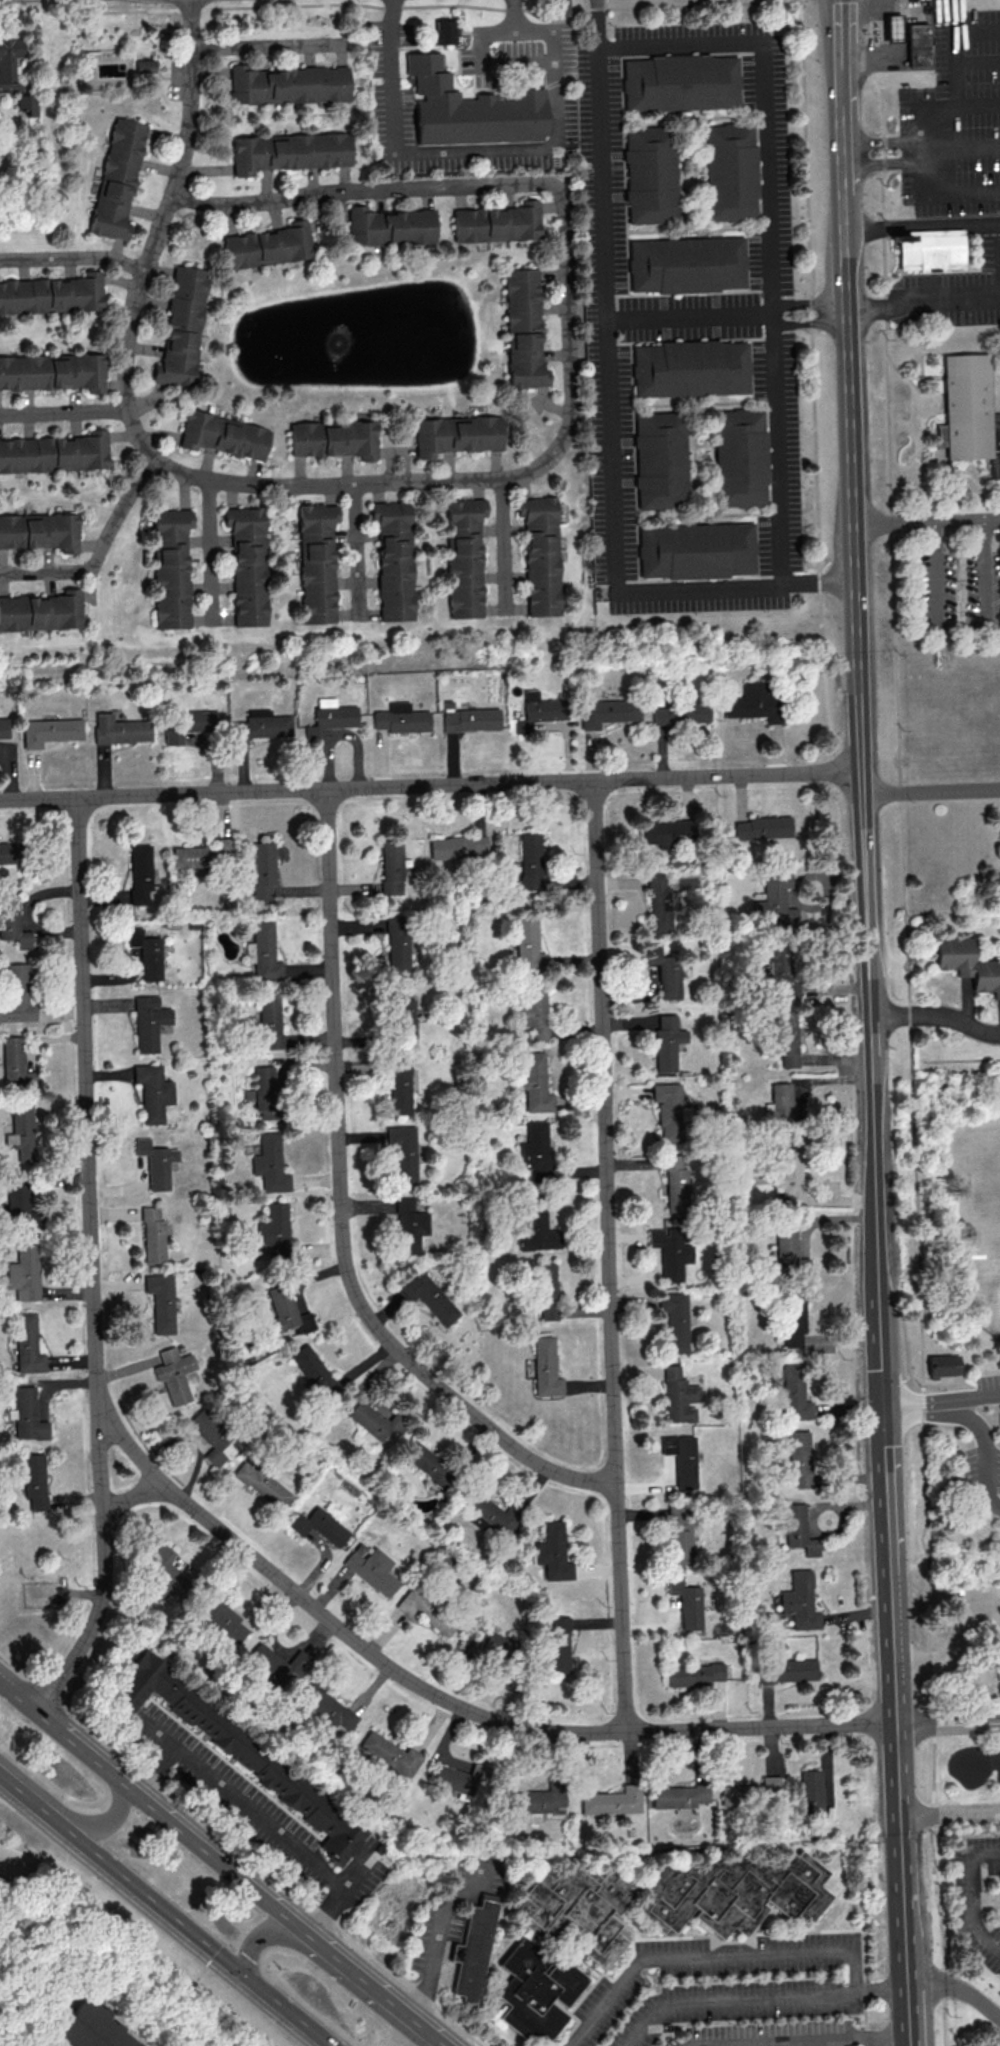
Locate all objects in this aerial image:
road: (402, 6)
building: (553, 8)
road: (863, 9)
road: (952, 15)
building: (890, 27)
gas station: (890, 27)
building: (443, 36)
building: (915, 43)
road: (839, 44)
road: (269, 48)
road: (873, 48)
road: (977, 61)
building: (9, 63)
road: (485, 63)
building: (144, 69)
building: (287, 84)
building: (679, 84)
road: (190, 97)
building: (27, 104)
road: (977, 106)
road: (931, 110)
building: (475, 111)
parking lot: (954, 118)
road: (840, 126)
road: (887, 142)
road: (966, 150)
building: (289, 151)
road: (490, 152)
road: (887, 162)
building: (729, 174)
building: (649, 176)
building: (117, 179)
building: (498, 222)
building: (390, 225)
road: (921, 226)
road: (771, 229)
road: (843, 237)
building: (268, 245)
building: (935, 249)
road: (72, 260)
building: (684, 267)
parking lot: (957, 291)
building: (52, 293)
road: (921, 298)
road: (809, 305)
road: (689, 319)
road: (811, 322)
road: (810, 323)
building: (182, 327)
building: (524, 328)
building: (689, 370)
building: (53, 371)
road: (65, 411)
building: (967, 412)
road: (611, 418)
building: (457, 434)
building: (224, 435)
building: (334, 438)
building: (54, 452)
building: (739, 460)
building: (659, 462)
road: (542, 464)
road: (926, 523)
building: (40, 531)
road: (503, 546)
road: (100, 551)
road: (210, 552)
road: (359, 552)
building: (695, 552)
building: (540, 554)
building: (465, 556)
building: (394, 559)
building: (317, 562)
building: (247, 564)
building: (171, 567)
building: (41, 611)
road: (964, 628)
building: (755, 702)
building: (538, 711)
building: (608, 712)
building: (680, 712)
building: (331, 716)
building: (401, 718)
building: (471, 719)
building: (187, 724)
building: (262, 725)
building: (4, 728)
building: (120, 729)
building: (50, 731)
road: (859, 731)
road: (430, 787)
road: (931, 791)
building: (763, 827)
building: (668, 833)
building: (457, 847)
building: (9, 852)
building: (204, 853)
building: (531, 861)
building: (391, 867)
building: (262, 870)
building: (140, 874)
building: (774, 902)
building: (660, 903)
building: (12, 922)
building: (528, 943)
building: (398, 944)
building: (263, 951)
building: (147, 953)
building: (968, 963)
building: (665, 971)
building: (777, 972)
building: (17, 993)
building: (533, 1013)
road: (936, 1014)
building: (402, 1019)
building: (269, 1020)
building: (149, 1022)
building: (786, 1037)
building: (667, 1042)
building: (15, 1060)
road: (912, 1068)
building: (535, 1083)
building: (400, 1087)
building: (152, 1091)
building: (265, 1091)
building: (779, 1103)
building: (668, 1110)
building: (21, 1130)
building: (535, 1149)
building: (403, 1152)
building: (156, 1162)
building: (269, 1163)
building: (787, 1174)
building: (675, 1182)
park: (983, 1192)
building: (17, 1204)
road: (340, 1209)
building: (409, 1226)
building: (274, 1229)
building: (538, 1231)
building: (152, 1235)
building: (672, 1251)
building: (789, 1252)
road: (607, 1257)
road: (90, 1265)
park: (994, 1268)
building: (24, 1272)
road: (879, 1279)
building: (546, 1291)
building: (429, 1297)
building: (161, 1302)
building: (286, 1311)
building: (676, 1320)
building: (794, 1320)
building: (27, 1344)
building: (546, 1367)
building: (942, 1367)
building: (316, 1373)
building: (174, 1374)
road: (957, 1378)
building: (795, 1391)
building: (679, 1396)
road: (902, 1406)
road: (955, 1414)
building: (28, 1415)
building: (375, 1421)
building: (212, 1437)
parking lot: (985, 1447)
building: (682, 1458)
building: (800, 1458)
building: (428, 1463)
road: (885, 1471)
building: (34, 1480)
building: (262, 1483)
road: (130, 1497)
building: (319, 1526)
building: (798, 1529)
building: (681, 1533)
building: (553, 1551)
building: (371, 1568)
building: (164, 1572)
building: (800, 1601)
building: (687, 1602)
building: (222, 1616)
road: (891, 1628)
building: (485, 1642)
building: (558, 1645)
building: (277, 1667)
building: (997, 1667)
building: (787, 1670)
building: (693, 1674)
road: (440, 1697)
building: (328, 1706)
road: (896, 1725)
road: (948, 1726)
building: (240, 1752)
building: (390, 1757)
road: (898, 1772)
building: (811, 1790)
building: (752, 1792)
road: (29, 1795)
building: (678, 1796)
building: (612, 1800)
building: (538, 1801)
road: (154, 1808)
road: (950, 1812)
road: (261, 1815)
road: (103, 1821)
road: (242, 1835)
building: (732, 1892)
road: (974, 1897)
building: (576, 1907)
road: (905, 1930)
road: (195, 1933)
road: (134, 1936)
road: (265, 1937)
road: (439, 1940)
building: (473, 1950)
road: (788, 1954)
road: (864, 1967)
traffic signals: (240, 1971)
parking lot: (721, 1986)
road: (373, 1988)
building: (536, 1991)
road: (735, 2001)
building: (94, 2029)
parking lot: (768, 2034)
road: (878, 2038)
road: (782, 2043)
road: (441, 2044)

